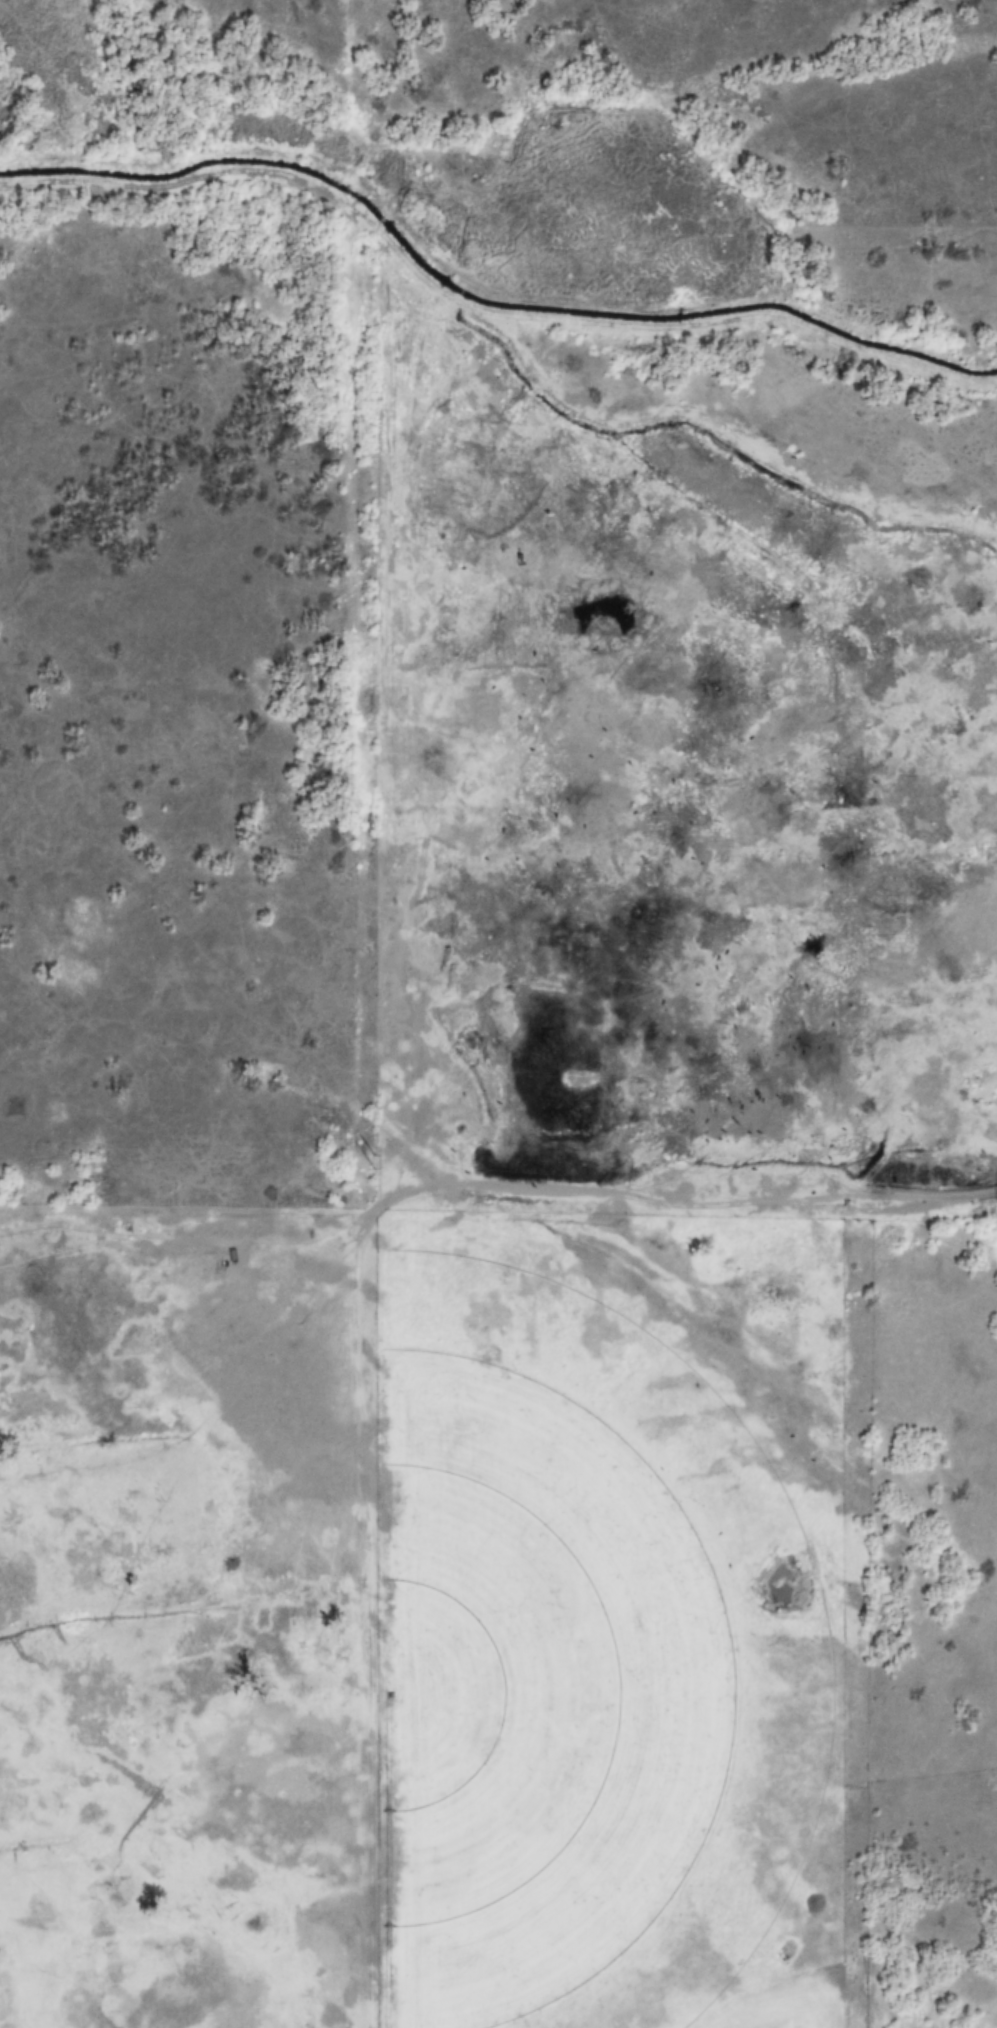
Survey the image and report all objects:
power tower: (375, 1161)
crop: (600, 1638)
crop: (992, 2022)

